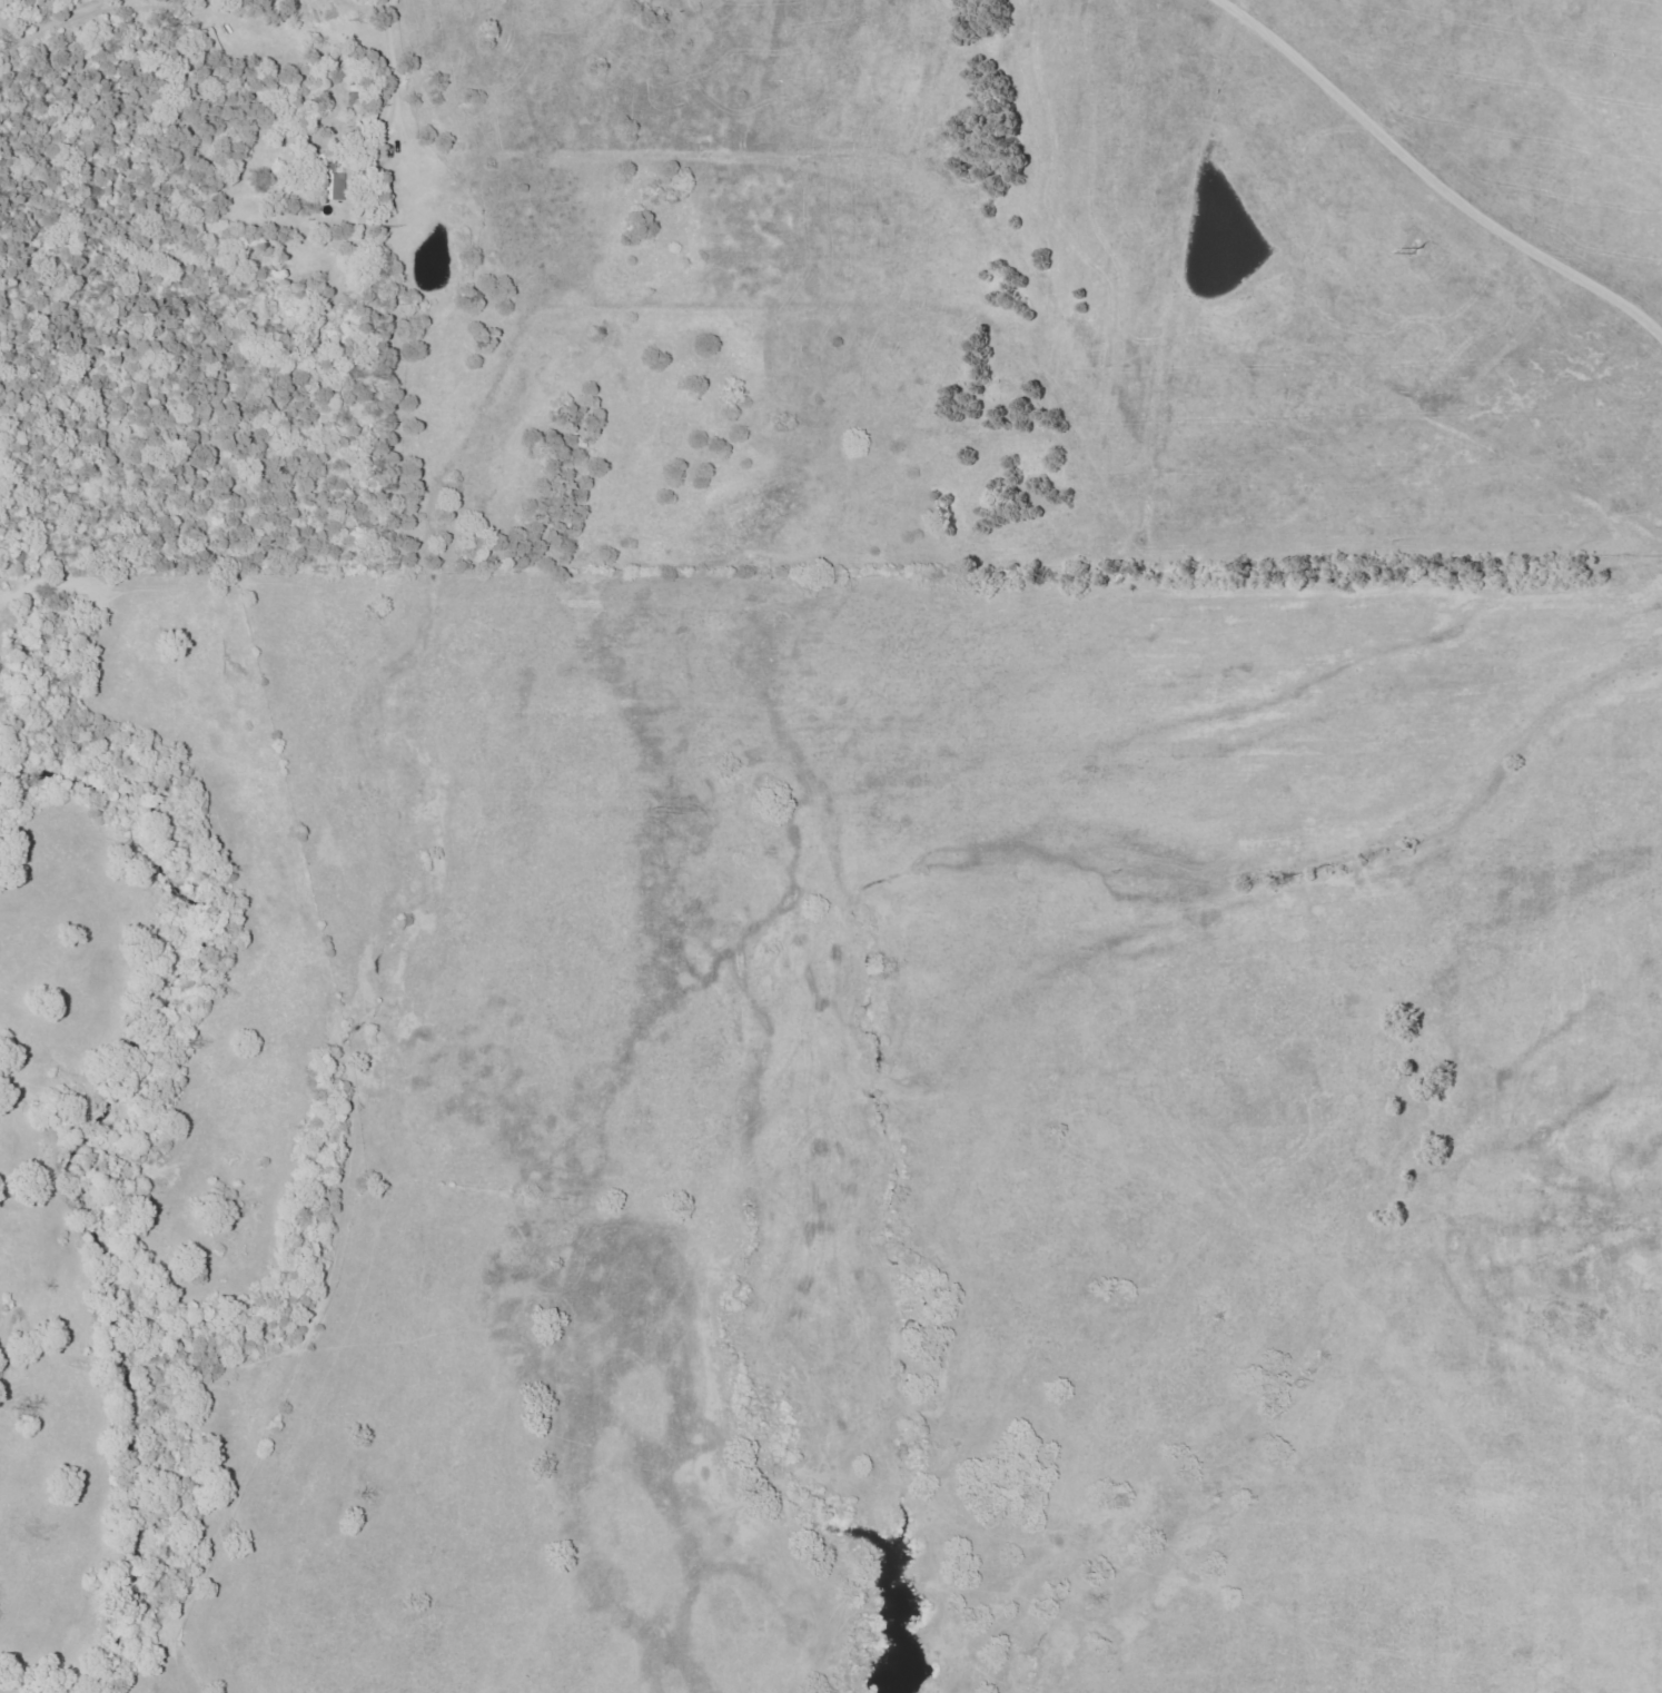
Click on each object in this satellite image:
road: (404, 59)
building: (324, 160)
road: (1434, 167)
building: (328, 186)
power tower: (1418, 249)

